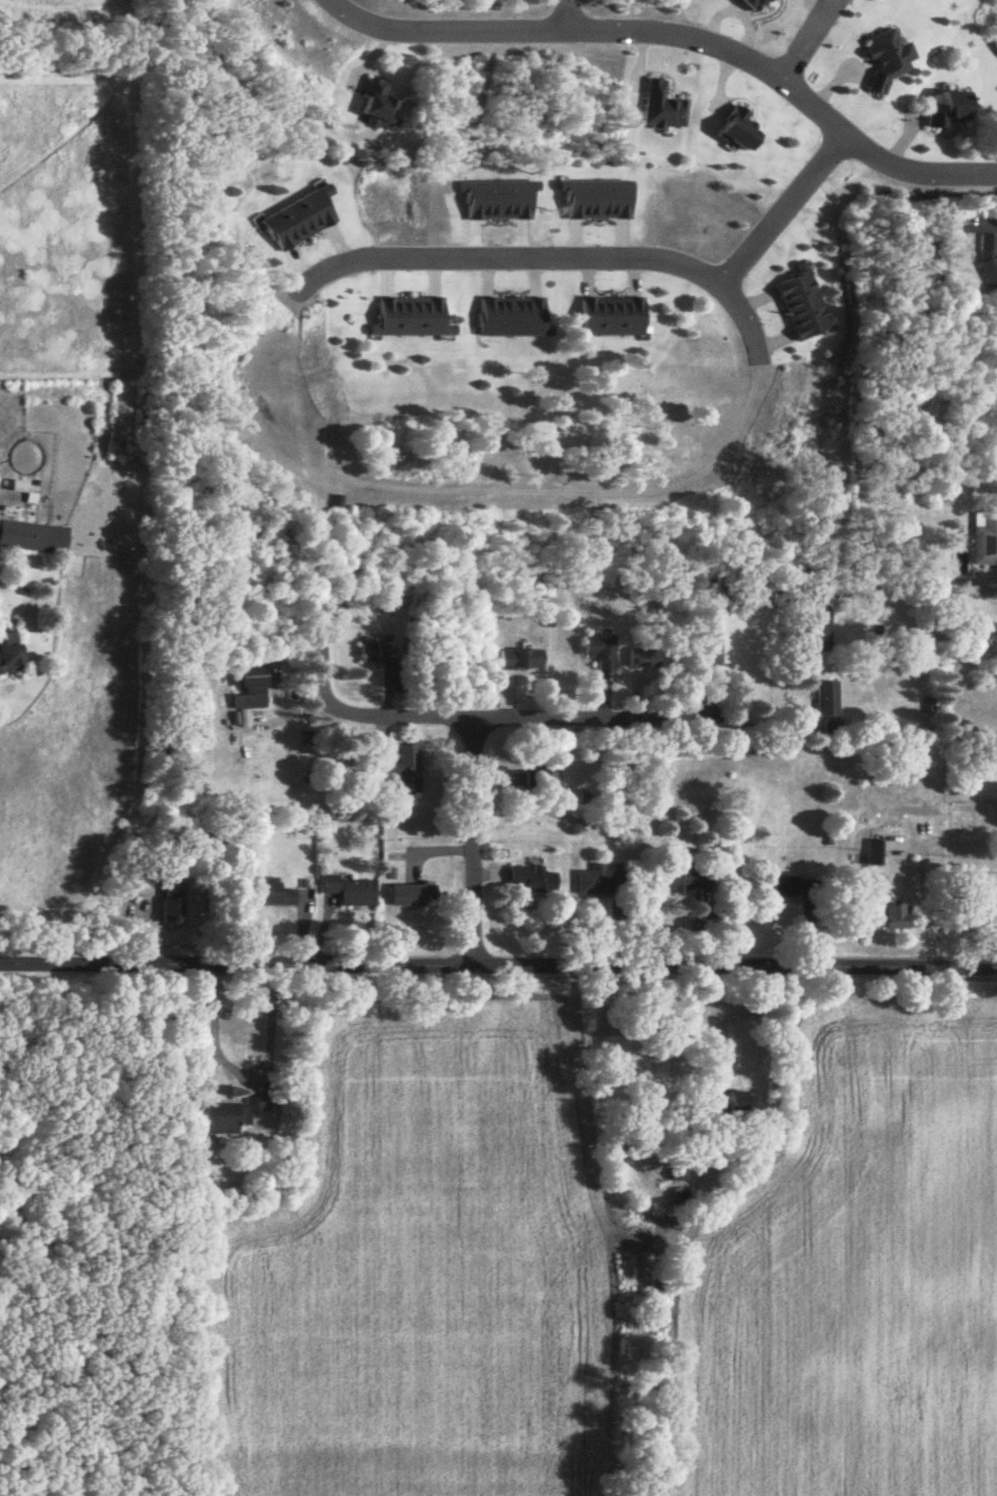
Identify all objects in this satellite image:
building: (754, 5)
road: (572, 14)
road: (677, 34)
road: (804, 42)
building: (888, 61)
building: (381, 108)
building: (663, 109)
building: (949, 111)
building: (738, 131)
road: (782, 212)
building: (301, 220)
road: (996, 223)
road: (551, 261)
building: (804, 306)
building: (612, 318)
building: (415, 319)
building: (33, 538)
building: (985, 540)
building: (818, 631)
building: (601, 653)
building: (10, 654)
building: (377, 654)
building: (520, 660)
building: (252, 689)
building: (827, 702)
road: (339, 713)
road: (646, 720)
building: (403, 769)
building: (543, 777)
road: (471, 844)
building: (876, 853)
building: (686, 877)
building: (533, 879)
building: (599, 882)
building: (788, 887)
road: (928, 889)
building: (350, 890)
building: (268, 894)
building: (411, 895)
building: (171, 909)
building: (995, 915)
building: (897, 916)
road: (498, 968)
road: (242, 1069)
building: (743, 1101)
building: (231, 1116)
building: (190, 1136)
building: (679, 1176)
building: (680, 1198)
crop: (419, 1270)
crop: (851, 1271)

